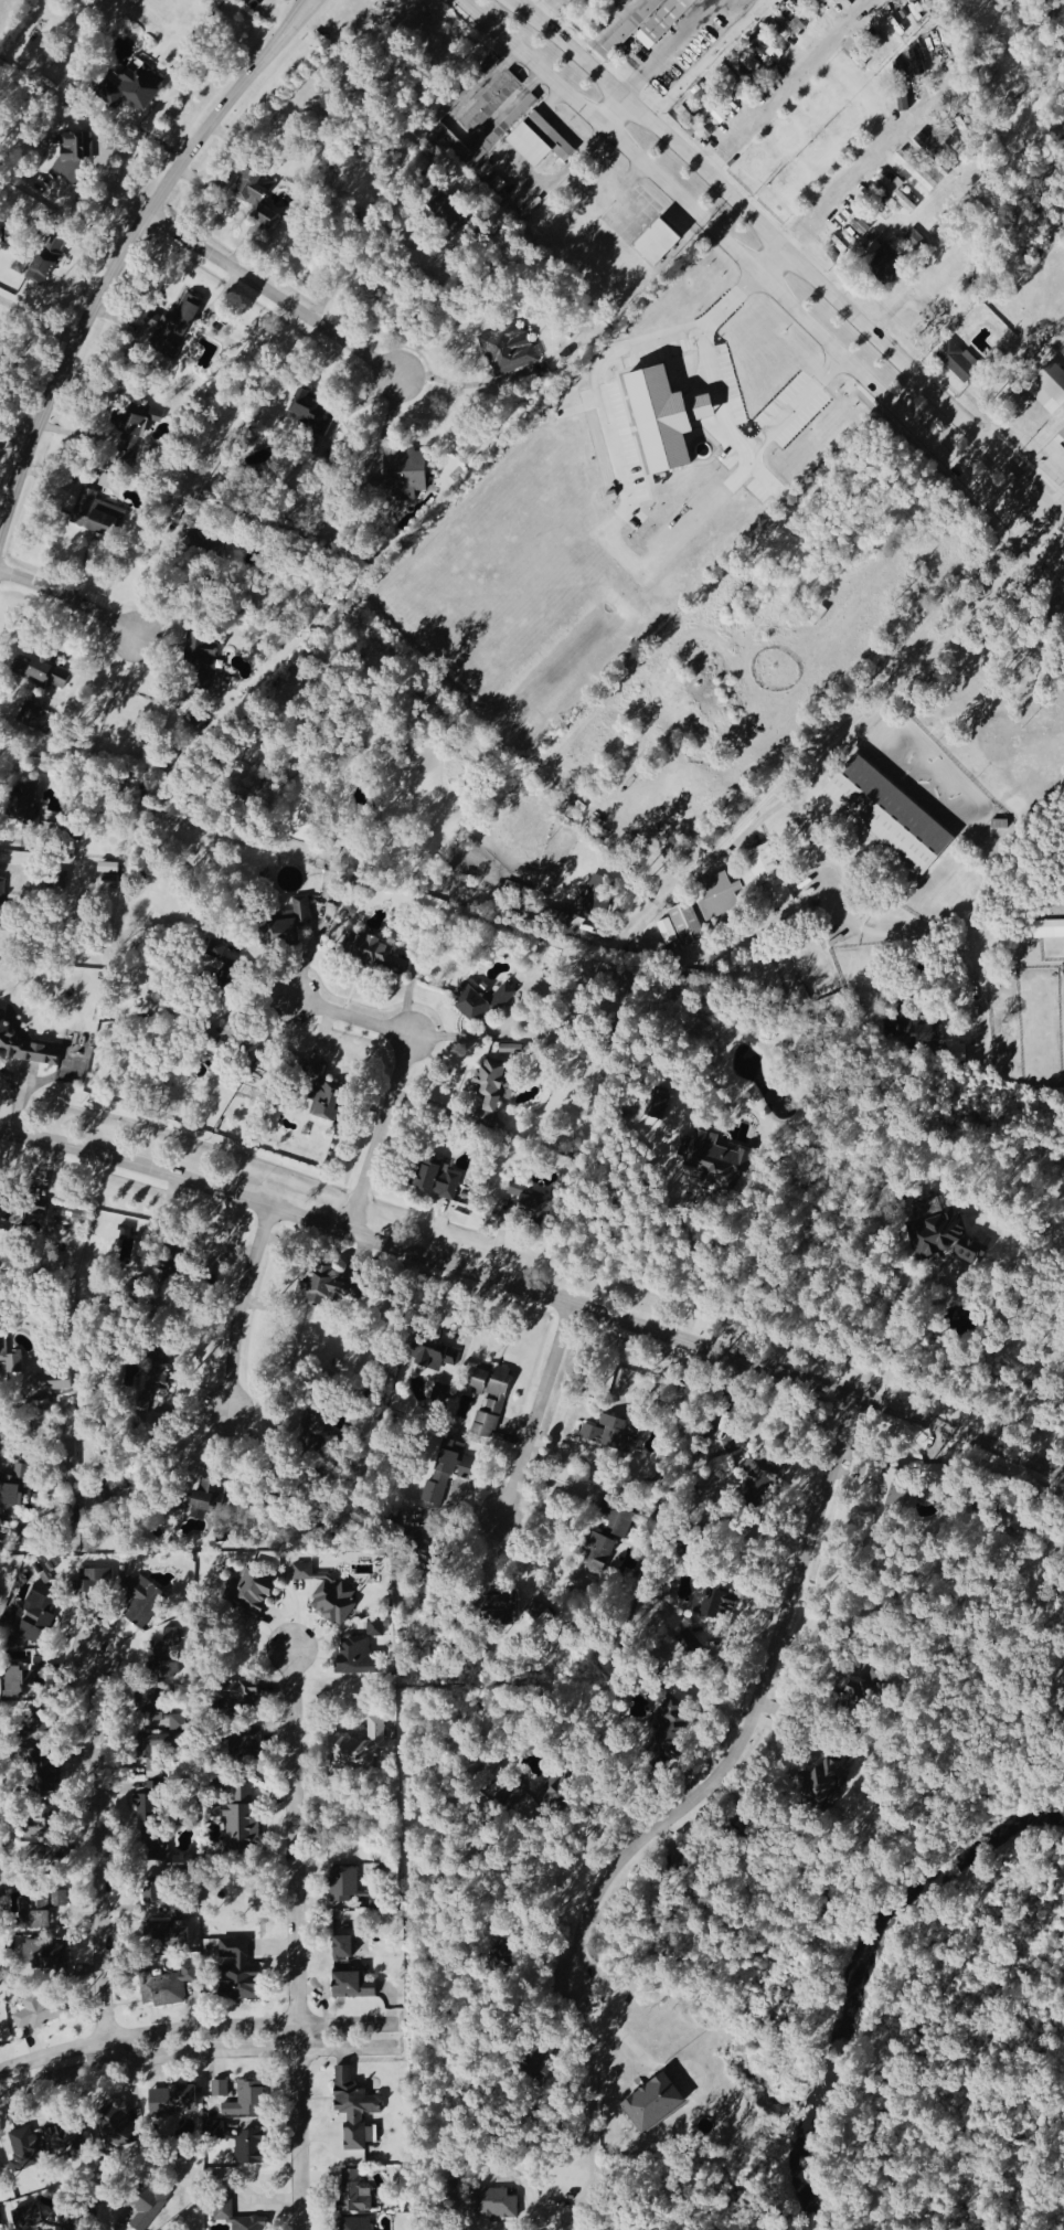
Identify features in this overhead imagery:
building: (628, 0)
road: (543, 8)
building: (792, 18)
road: (287, 19)
road: (298, 21)
building: (631, 26)
road: (669, 46)
building: (880, 56)
road: (980, 66)
road: (791, 87)
building: (132, 88)
building: (490, 104)
road: (545, 105)
road: (614, 112)
building: (714, 112)
building: (519, 114)
road: (140, 134)
building: (540, 142)
building: (925, 146)
building: (75, 151)
road: (881, 158)
building: (916, 171)
building: (892, 178)
building: (895, 194)
building: (254, 197)
building: (914, 241)
building: (658, 244)
building: (47, 262)
road: (791, 263)
road: (358, 264)
building: (19, 266)
road: (770, 266)
road: (111, 272)
road: (766, 286)
road: (276, 294)
building: (509, 350)
building: (958, 362)
building: (1049, 390)
building: (308, 410)
road: (721, 418)
building: (667, 420)
building: (136, 425)
building: (1062, 434)
building: (404, 476)
road: (1057, 507)
building: (95, 516)
road: (1039, 528)
road: (76, 598)
building: (202, 659)
building: (40, 672)
road: (816, 737)
road: (816, 765)
building: (24, 800)
building: (891, 816)
crop: (909, 861)
building: (107, 868)
building: (108, 879)
building: (747, 886)
building: (687, 926)
building: (287, 927)
building: (1047, 931)
building: (667, 933)
building: (651, 949)
building: (375, 956)
building: (479, 1004)
building: (232, 1034)
building: (926, 1037)
building: (23, 1047)
building: (510, 1050)
building: (309, 1073)
road: (405, 1073)
building: (493, 1087)
building: (329, 1105)
building: (655, 1109)
building: (713, 1158)
building: (438, 1181)
building: (529, 1202)
building: (22, 1214)
building: (73, 1215)
road: (684, 1221)
building: (125, 1233)
building: (948, 1239)
building: (329, 1287)
road: (535, 1288)
road: (246, 1305)
road: (889, 1319)
building: (435, 1352)
building: (6, 1358)
building: (153, 1384)
building: (489, 1397)
road: (542, 1410)
building: (318, 1425)
building: (611, 1435)
building: (456, 1465)
building: (940, 1473)
building: (762, 1480)
building: (14, 1486)
building: (892, 1487)
building: (435, 1491)
building: (208, 1497)
building: (619, 1523)
building: (222, 1533)
building: (600, 1551)
building: (430, 1560)
building: (93, 1580)
building: (251, 1591)
building: (328, 1595)
building: (719, 1602)
building: (502, 1604)
building: (145, 1606)
building: (376, 1628)
building: (167, 1647)
building: (358, 1658)
building: (25, 1679)
building: (855, 1686)
building: (241, 1692)
road: (752, 1711)
building: (177, 1723)
building: (670, 1732)
building: (358, 1748)
building: (823, 1781)
building: (556, 1792)
building: (146, 1804)
building: (242, 1820)
building: (41, 1824)
building: (40, 1854)
building: (158, 1855)
road: (98, 1856)
building: (352, 1890)
building: (155, 1897)
building: (58, 1900)
building: (33, 1914)
building: (178, 1936)
road: (298, 1939)
building: (343, 1948)
building: (508, 1950)
building: (55, 1953)
building: (32, 1954)
building: (238, 1973)
river: (864, 1982)
building: (355, 1986)
building: (167, 1989)
building: (38, 2014)
road: (348, 2026)
road: (617, 2030)
road: (147, 2036)
road: (349, 2051)
road: (147, 2059)
building: (544, 2072)
building: (223, 2089)
building: (246, 2101)
building: (172, 2102)
building: (652, 2102)
building: (354, 2110)
building: (116, 2126)
building: (43, 2146)
building: (249, 2148)
building: (1, 2175)
building: (353, 2194)
building: (493, 2205)
building: (223, 2208)
building: (149, 2209)
building: (29, 2219)
building: (354, 2224)

